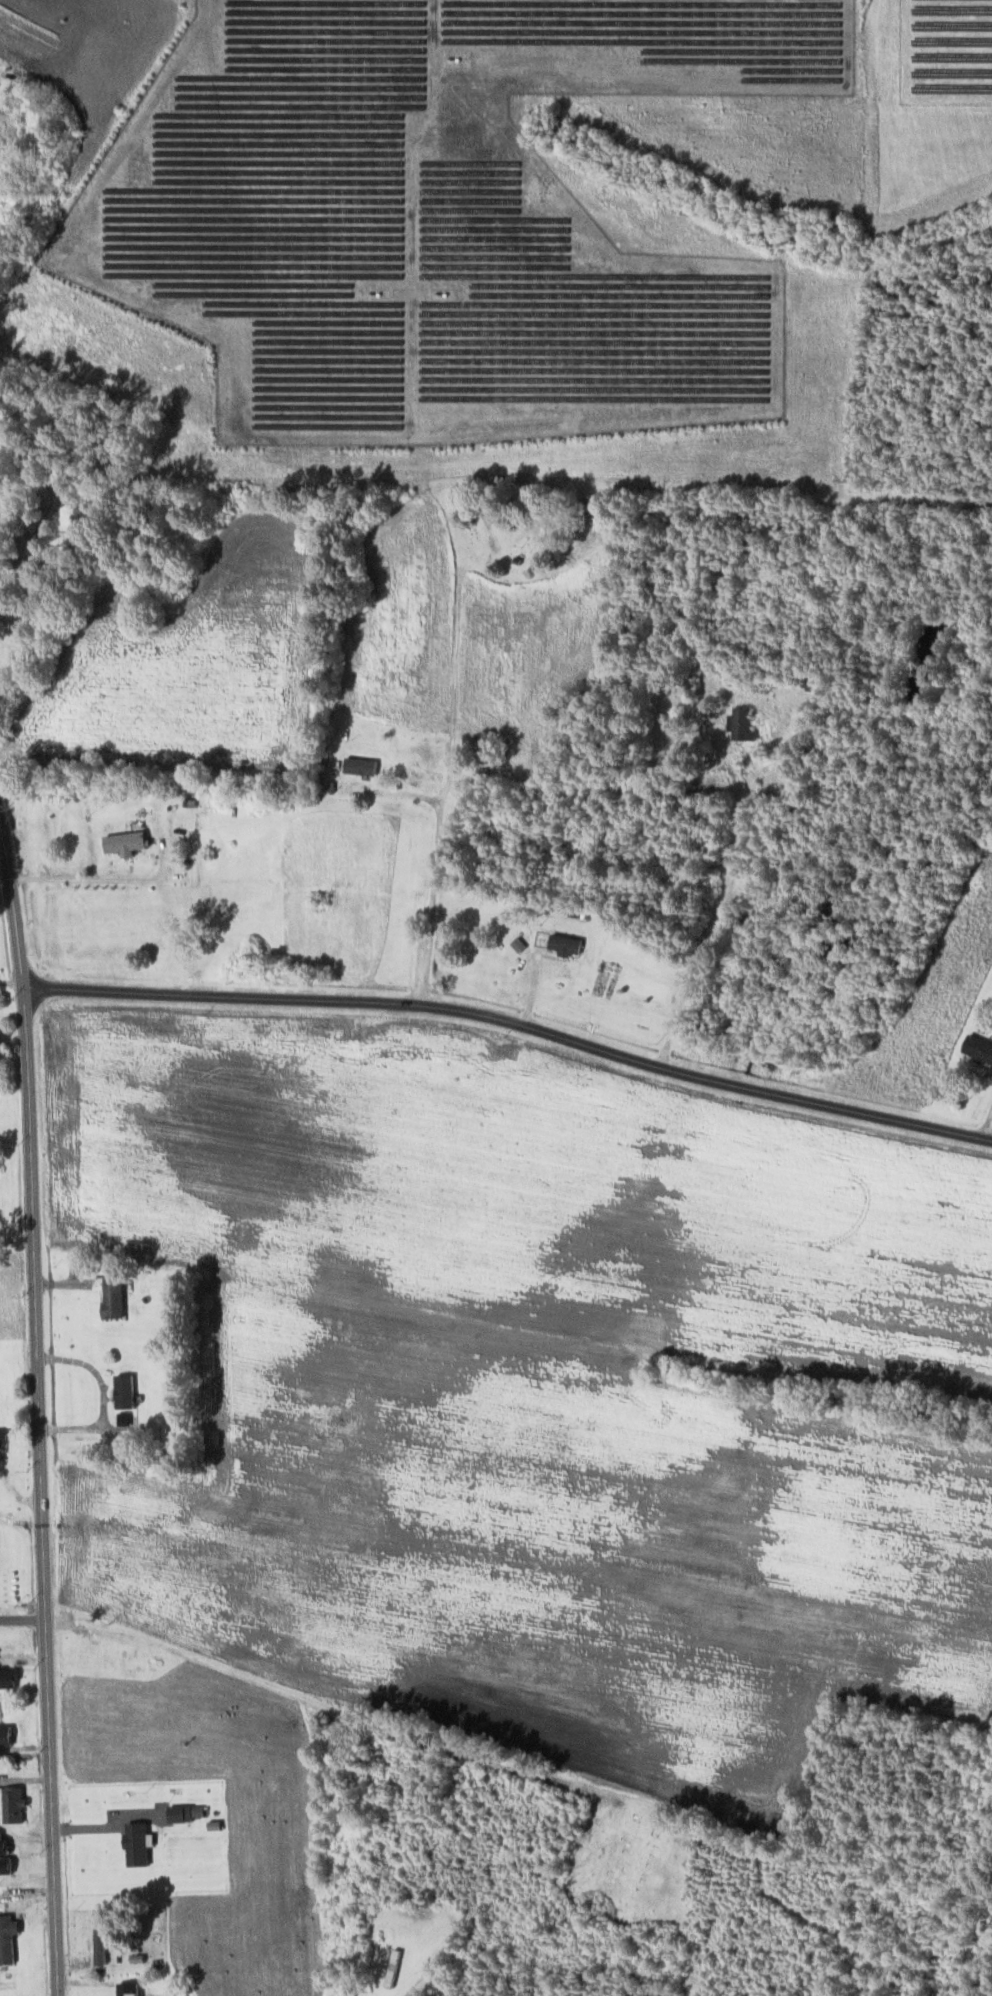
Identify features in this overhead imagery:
crop: (86, 46)
solar farm: (434, 221)
building: (744, 723)
building: (362, 765)
building: (129, 842)
building: (567, 943)
road: (513, 1021)
building: (976, 1048)
building: (102, 1283)
building: (117, 1297)
building: (128, 1390)
road: (39, 1398)
building: (6, 1435)
road: (23, 1618)
building: (8, 1734)
building: (16, 1803)
building: (187, 1811)
building: (139, 1843)
building: (8, 1938)
building: (102, 1940)
building: (131, 1988)

